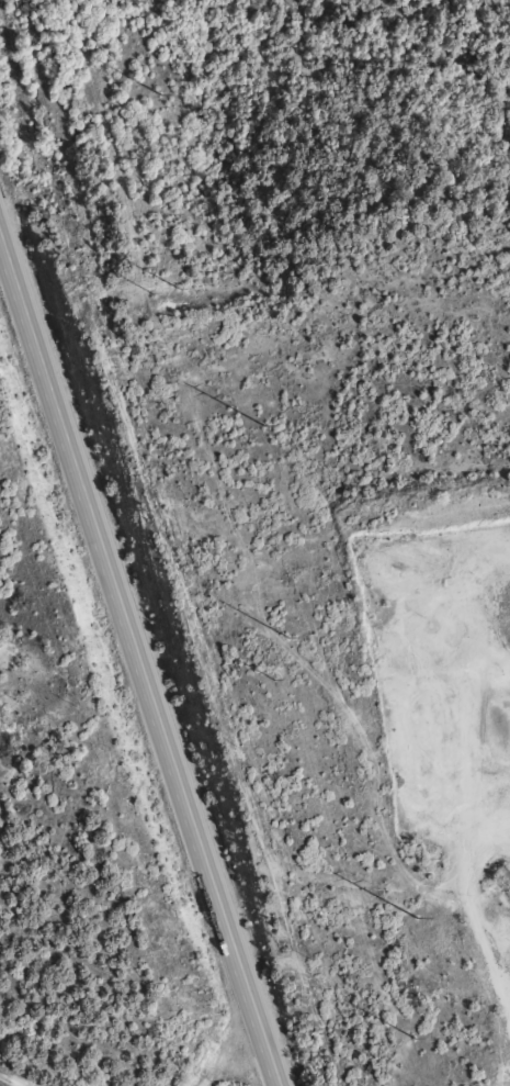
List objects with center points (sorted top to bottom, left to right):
power tower: (158, 94)
power tower: (177, 284)
power tower: (151, 292)
power tower: (262, 427)
power tower: (286, 637)
road: (136, 662)
power tower: (273, 681)
power tower: (415, 917)
power tower: (412, 1037)
road: (222, 1046)
road: (18, 1079)

